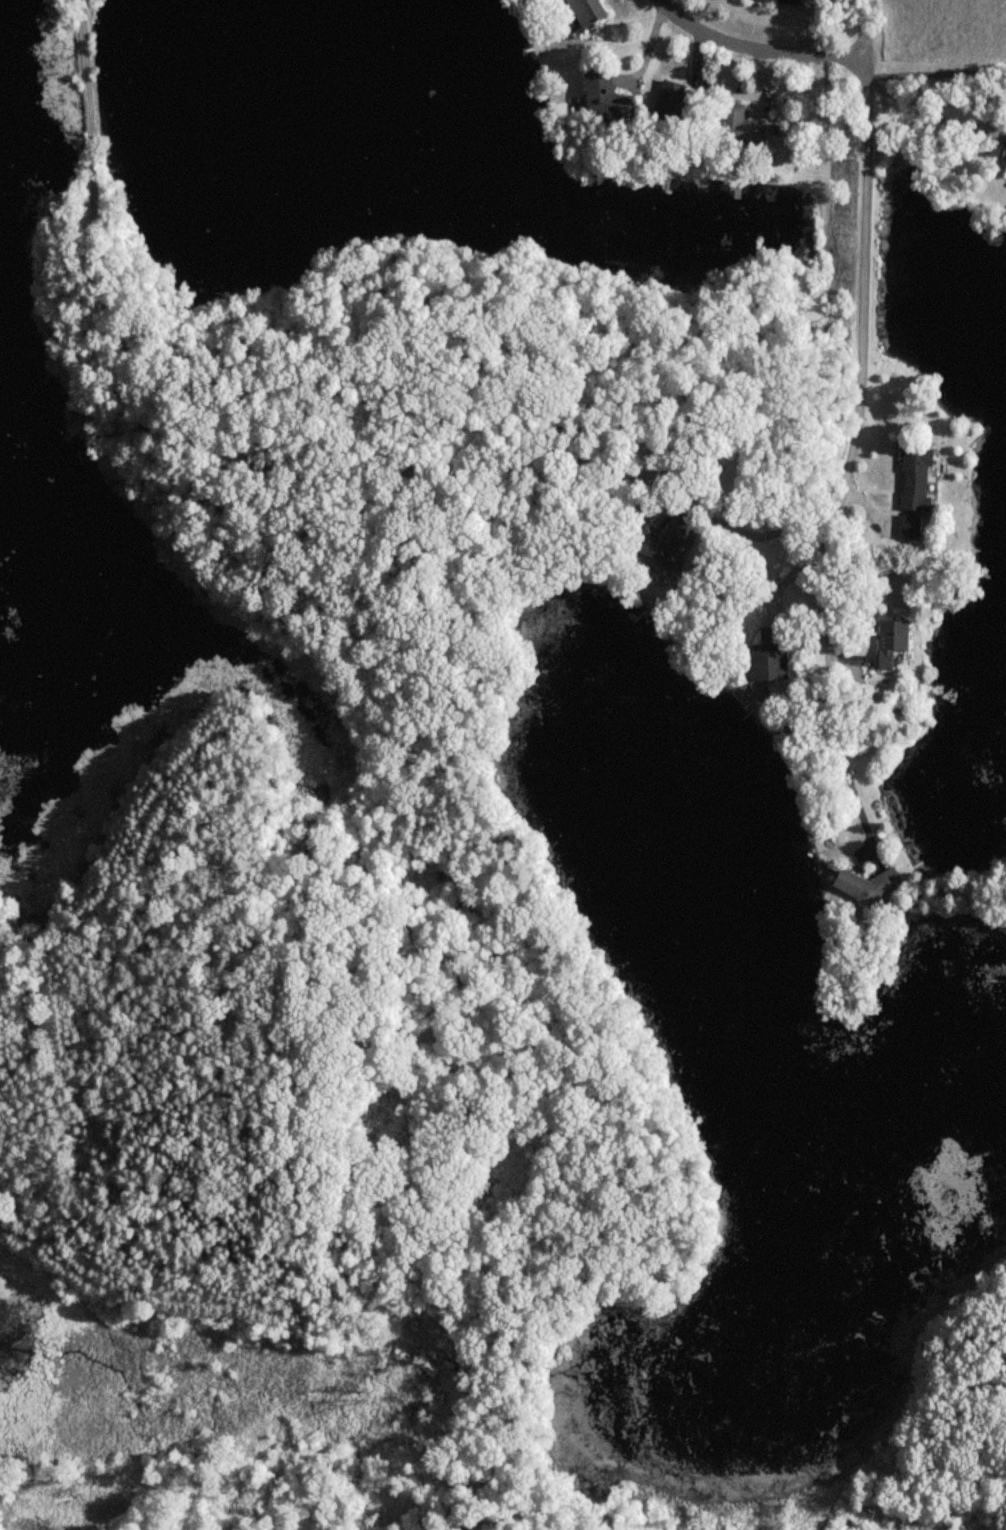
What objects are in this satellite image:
building: (789, 2)
building: (586, 11)
road: (859, 20)
road: (814, 26)
road: (645, 45)
road: (748, 46)
road: (695, 59)
road: (858, 68)
road: (757, 78)
road: (631, 84)
building: (606, 96)
building: (670, 98)
road: (928, 113)
building: (743, 125)
building: (1005, 160)
road: (98, 273)
road: (850, 475)
building: (920, 477)
road: (870, 510)
building: (910, 525)
road: (755, 526)
building: (677, 543)
road: (802, 562)
building: (896, 641)
building: (774, 653)
building: (872, 886)

